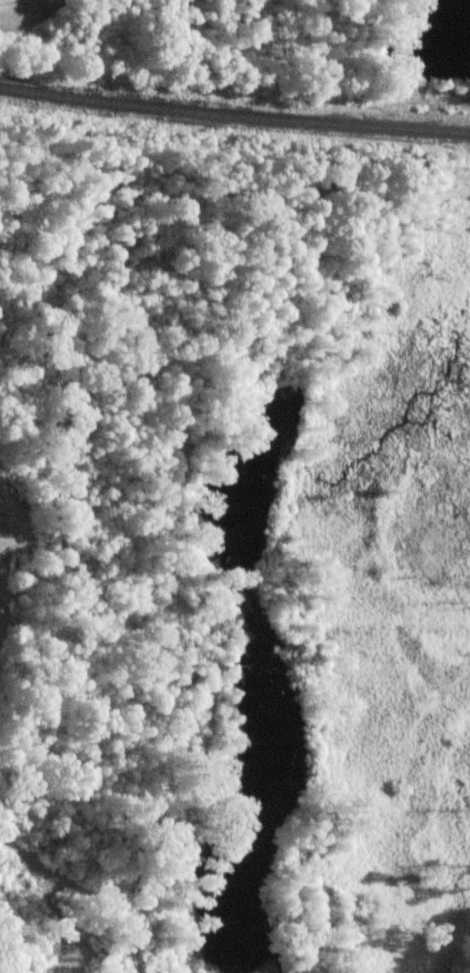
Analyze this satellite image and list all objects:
railway: (234, 113)
road: (87, 888)

